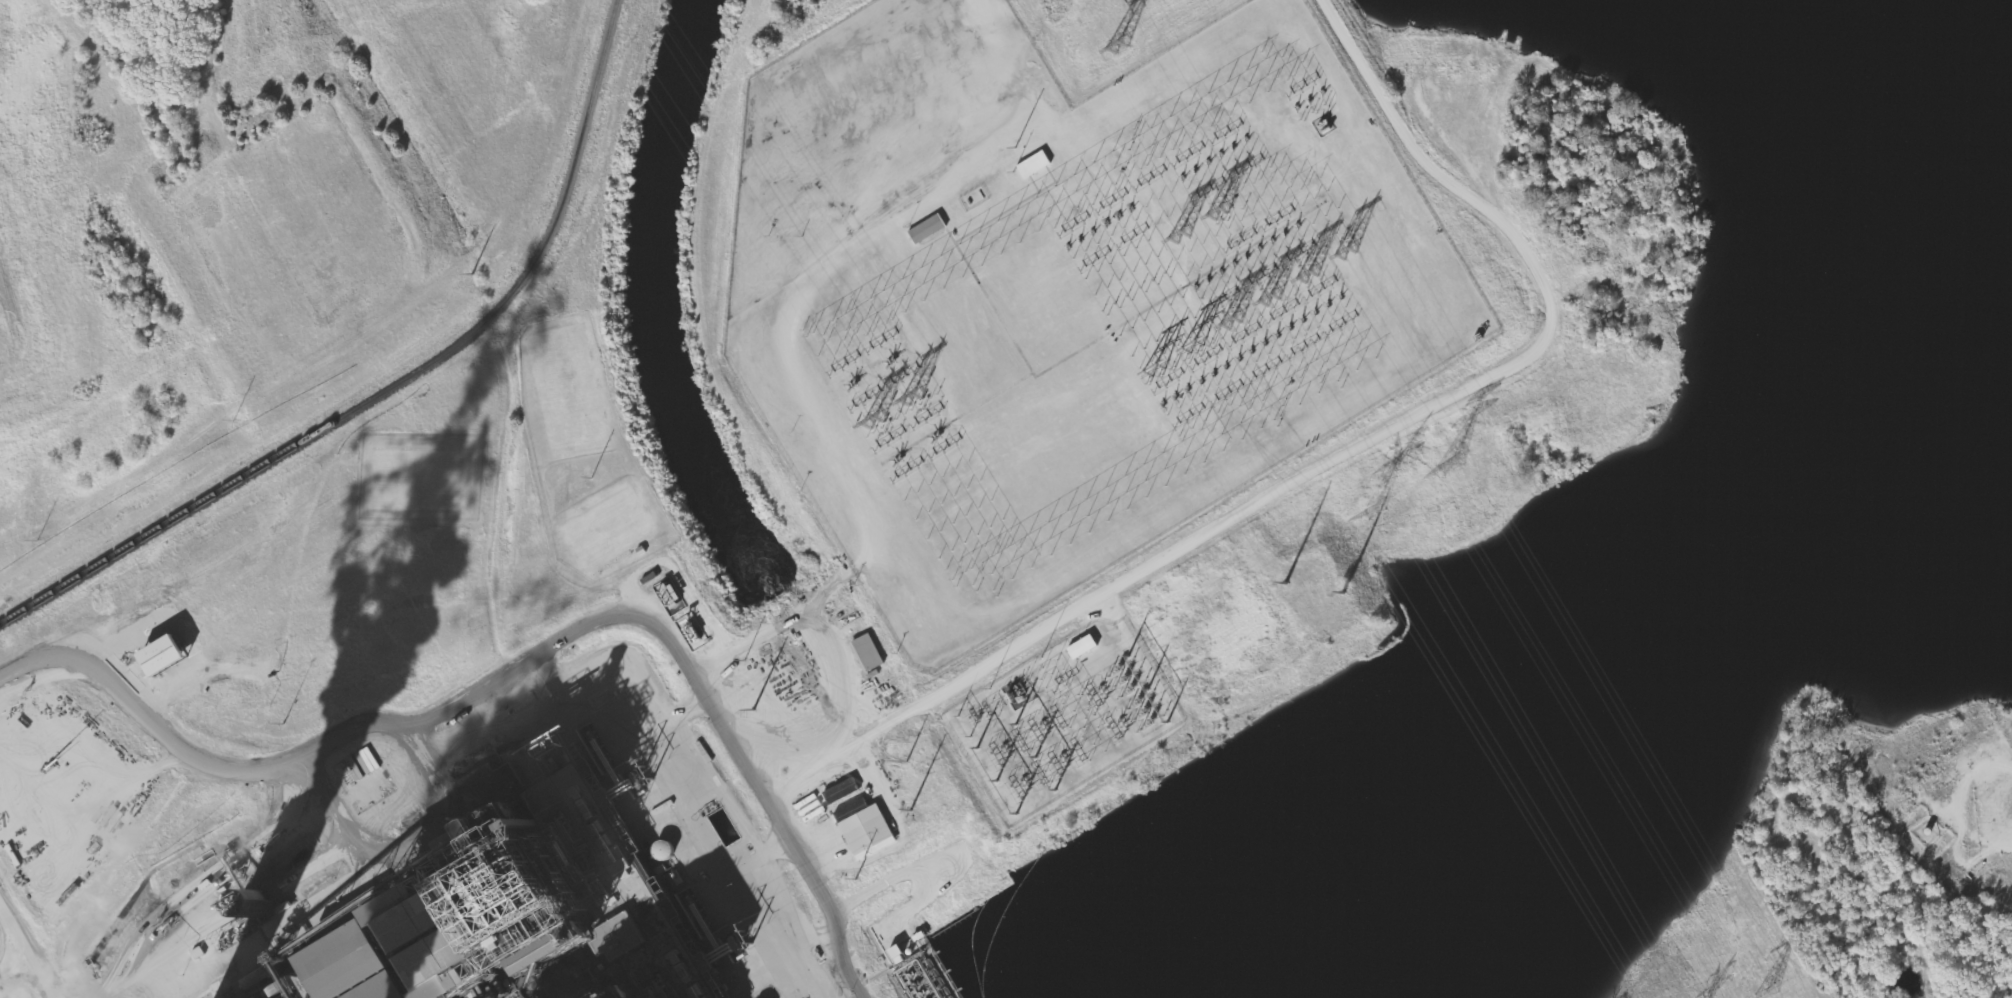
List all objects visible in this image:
power tower: (1118, 50)
power tower: (1216, 208)
building: (931, 229)
power tower: (1180, 234)
power tower: (1345, 250)
power tower: (1308, 274)
power substation: (1061, 293)
power tower: (1270, 298)
power tower: (1232, 320)
power tower: (1193, 343)
power tower: (1152, 363)
railway: (395, 385)
power tower: (911, 397)
power tower: (874, 419)
power plant: (743, 455)
power tower: (1439, 459)
power tower: (1363, 505)
power tower: (1283, 583)
power tower: (1341, 593)
building: (1085, 647)
building: (869, 654)
building: (169, 655)
power tower: (751, 709)
power substation: (1060, 719)
power tower: (647, 771)
building: (844, 791)
power tower: (909, 810)
power tower: (854, 878)
building: (488, 906)
power tower: (747, 936)
building: (660, 968)
power tower: (1759, 997)

